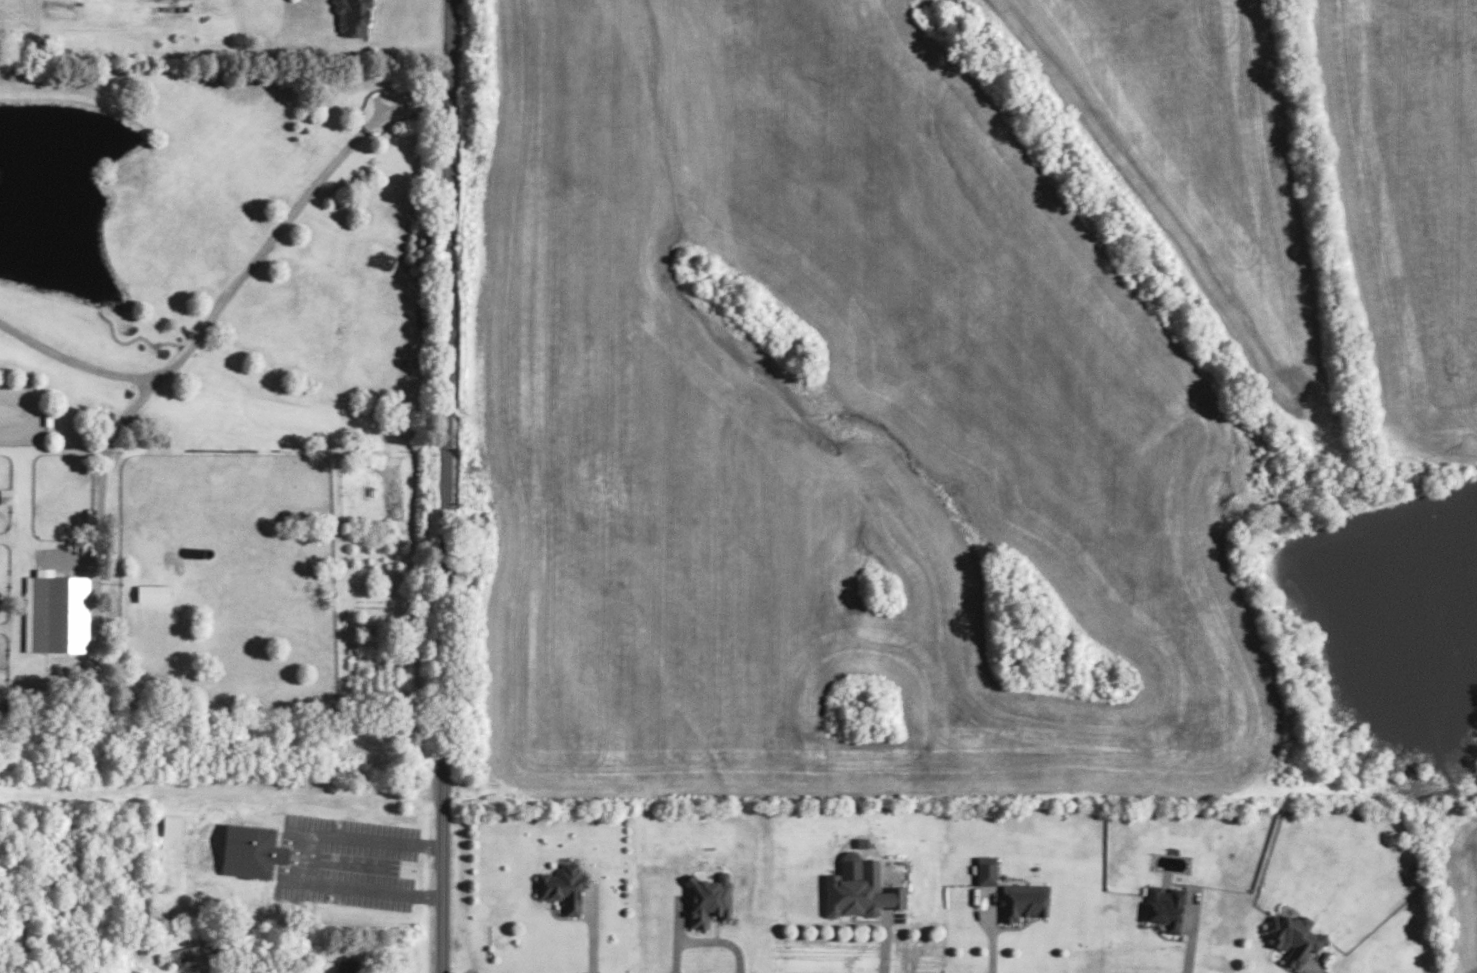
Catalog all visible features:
building: (352, 15)
road: (238, 278)
road: (444, 400)
road: (105, 455)
building: (6, 495)
building: (152, 591)
building: (56, 610)
building: (172, 824)
road: (431, 844)
building: (251, 850)
road: (309, 858)
building: (986, 869)
building: (563, 885)
road: (445, 886)
building: (859, 888)
road: (429, 895)
building: (709, 898)
building: (1022, 900)
building: (1164, 906)
road: (590, 930)
road: (991, 930)
building: (1293, 937)
road: (705, 938)
building: (179, 952)
building: (348, 965)
road: (1319, 967)

